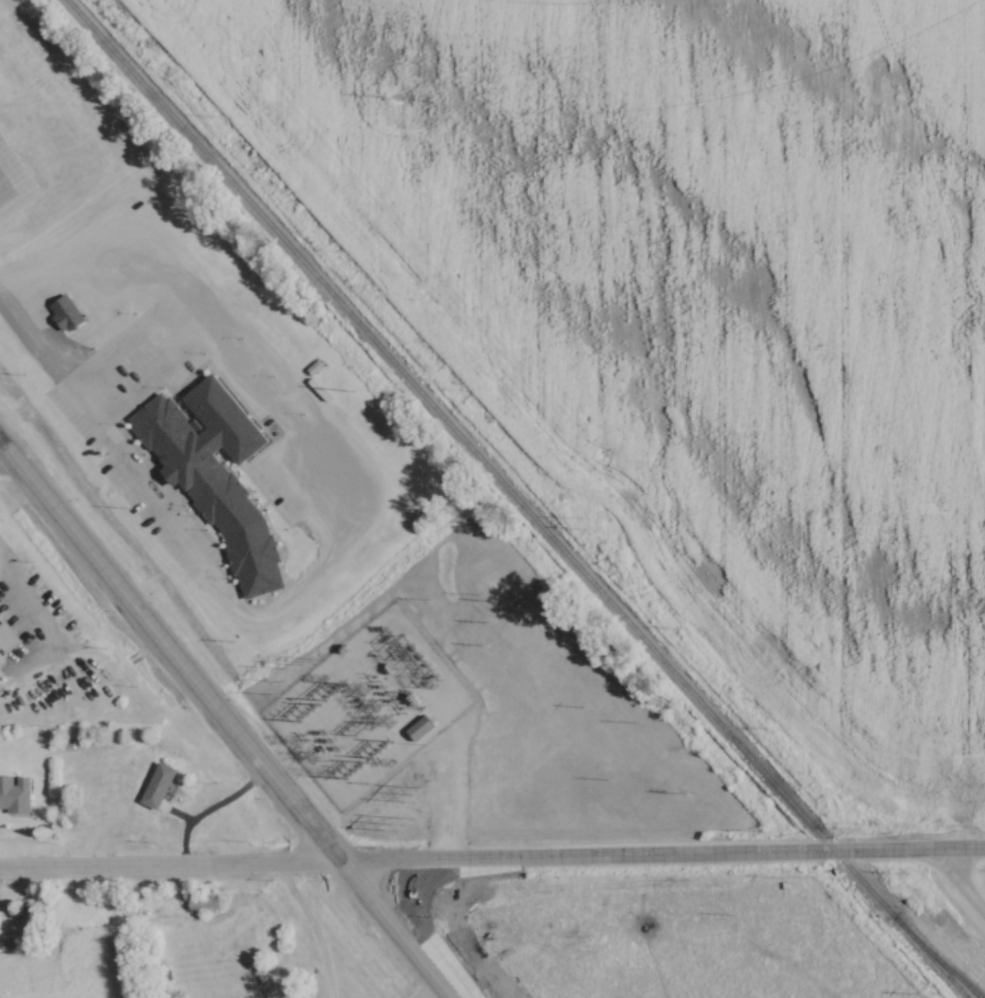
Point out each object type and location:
power tower: (394, 98)
road: (98, 312)
building: (67, 314)
power tower: (351, 391)
road: (1, 444)
railway: (521, 503)
power tower: (312, 661)
power tower: (284, 686)
power substation: (369, 706)
road: (225, 720)
power tower: (311, 721)
building: (421, 727)
power tower: (364, 751)
building: (159, 785)
power tower: (415, 787)
road: (447, 791)
building: (15, 793)
road: (210, 809)
power tower: (389, 809)
road: (661, 854)
building: (787, 856)
road: (169, 865)
building: (204, 905)
road: (313, 927)
road: (425, 988)

